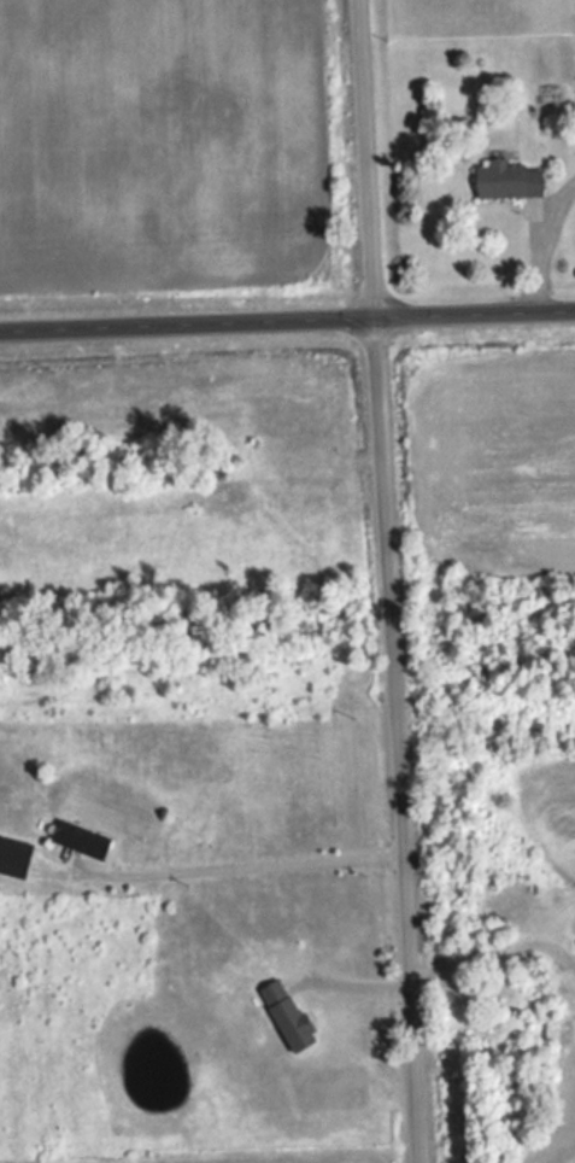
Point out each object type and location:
building: (516, 180)
road: (287, 310)
road: (381, 581)
building: (87, 838)
building: (281, 1016)

